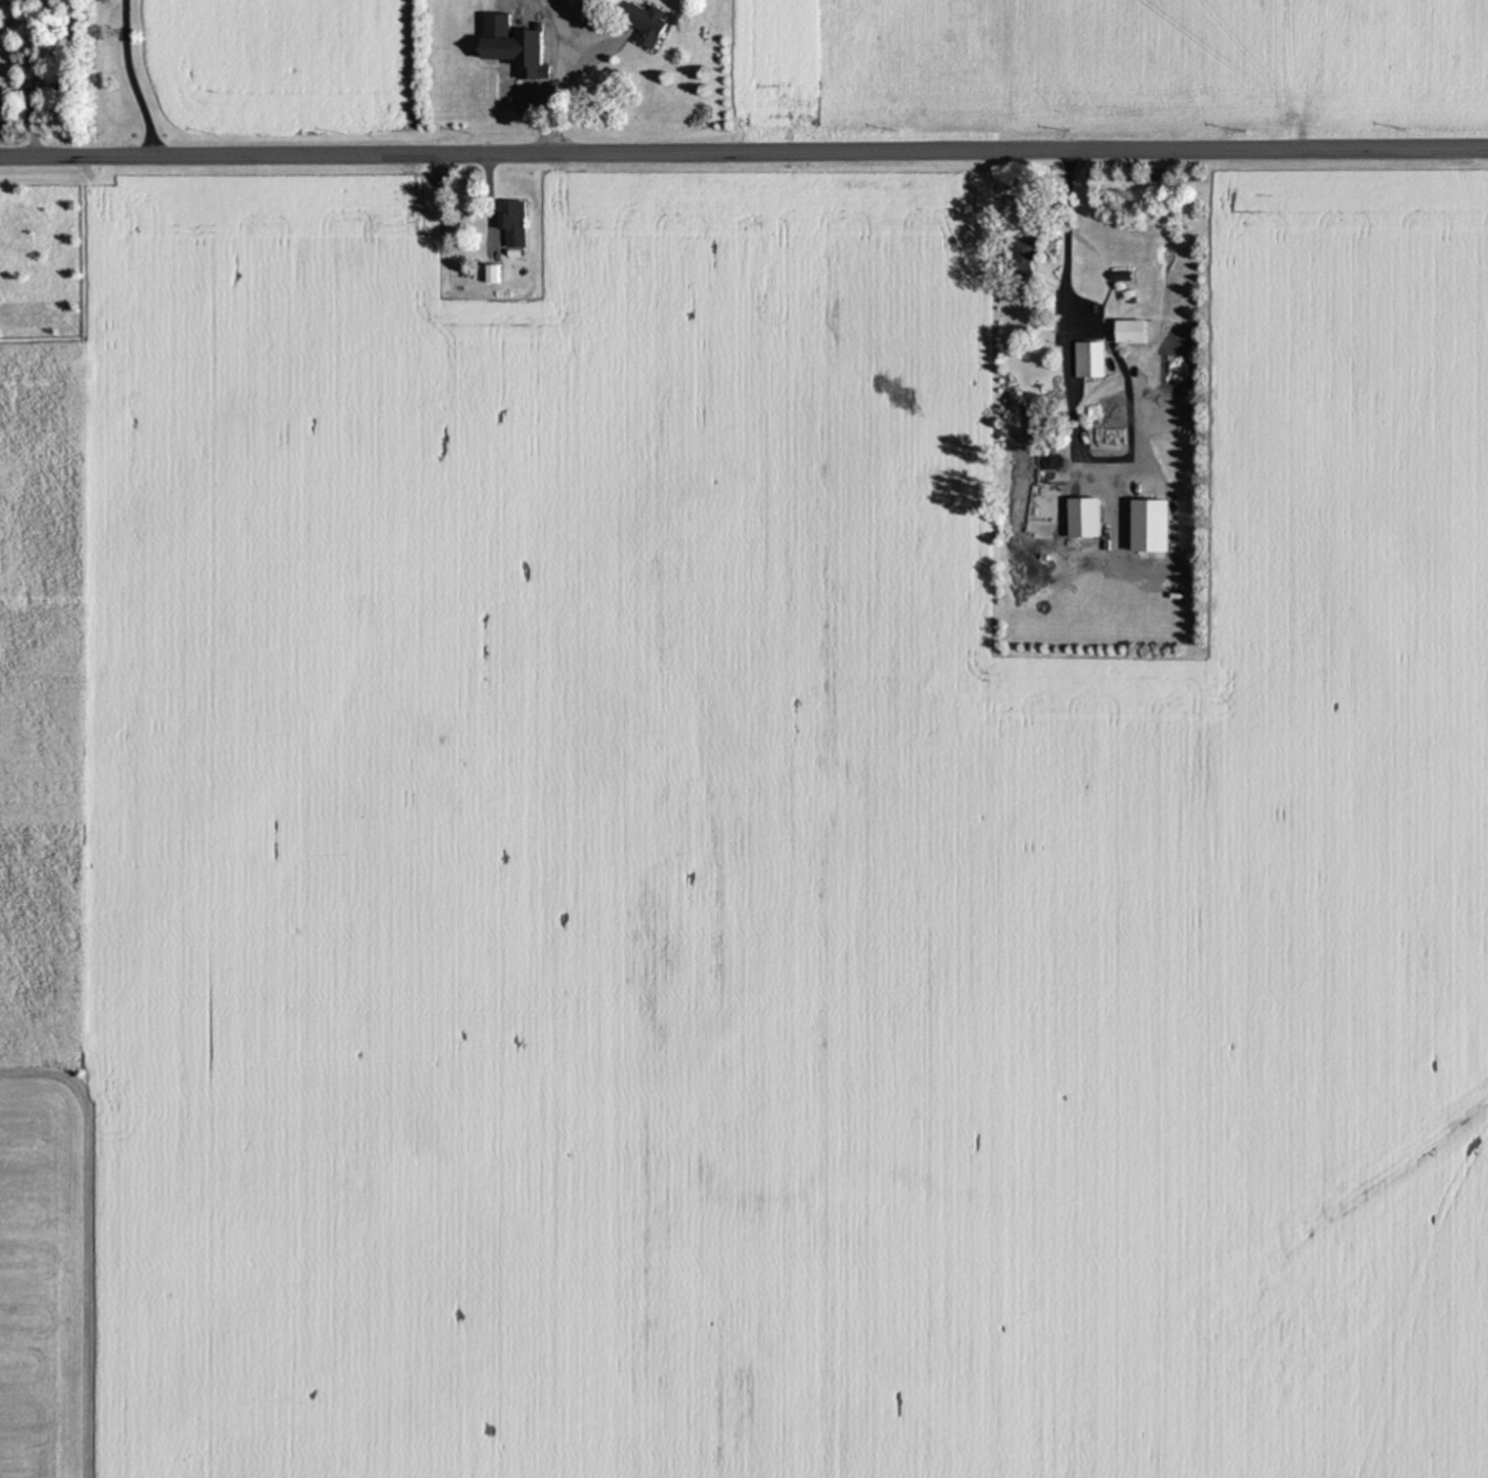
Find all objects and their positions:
building: (647, 23)
building: (516, 45)
road: (123, 80)
building: (3, 105)
road: (744, 153)
building: (514, 224)
building: (1027, 261)
building: (1131, 330)
building: (1093, 359)
building: (1104, 439)
building: (1085, 518)

